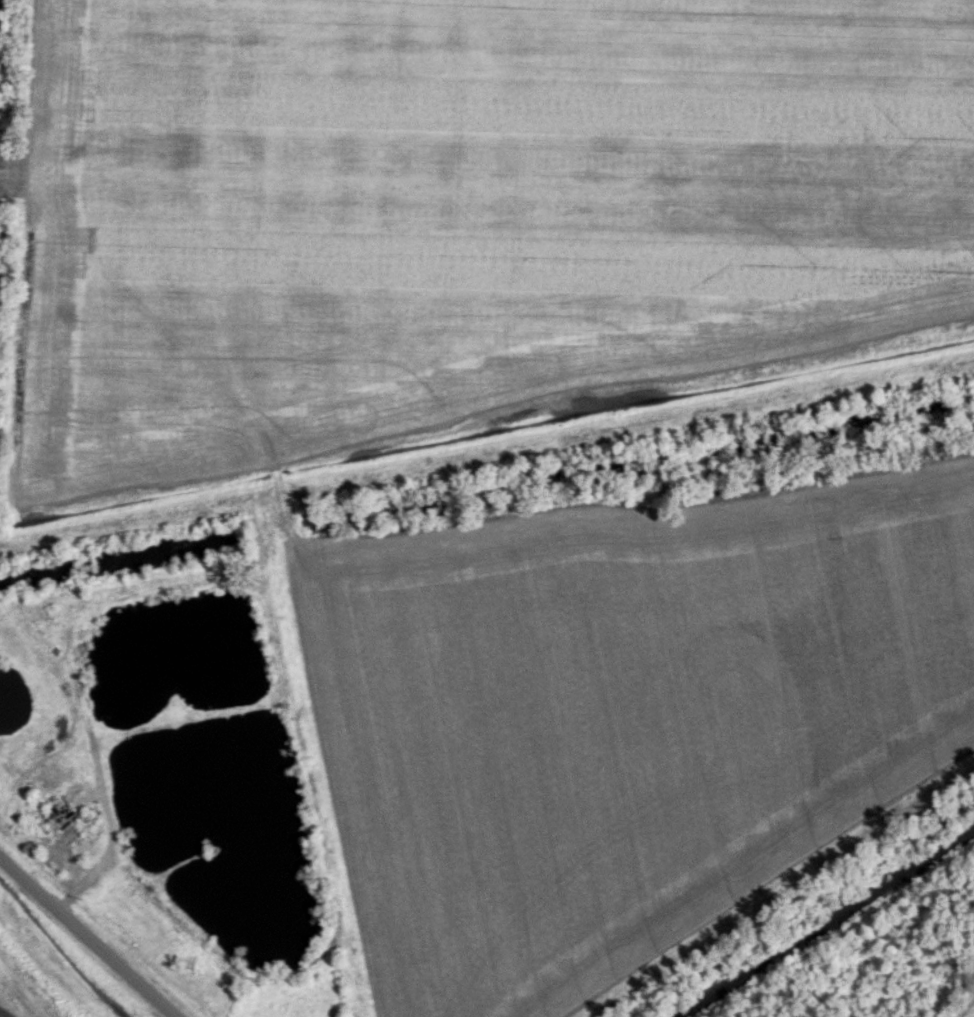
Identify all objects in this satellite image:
road: (57, 853)
road: (102, 858)
road: (89, 936)

